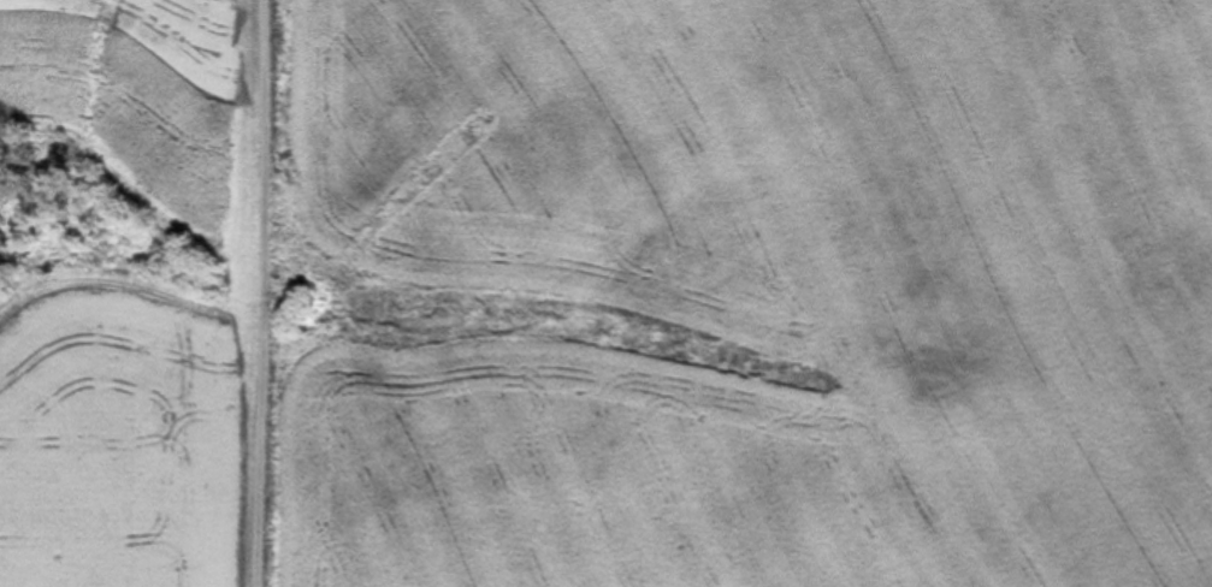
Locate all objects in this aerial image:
road: (237, 293)

